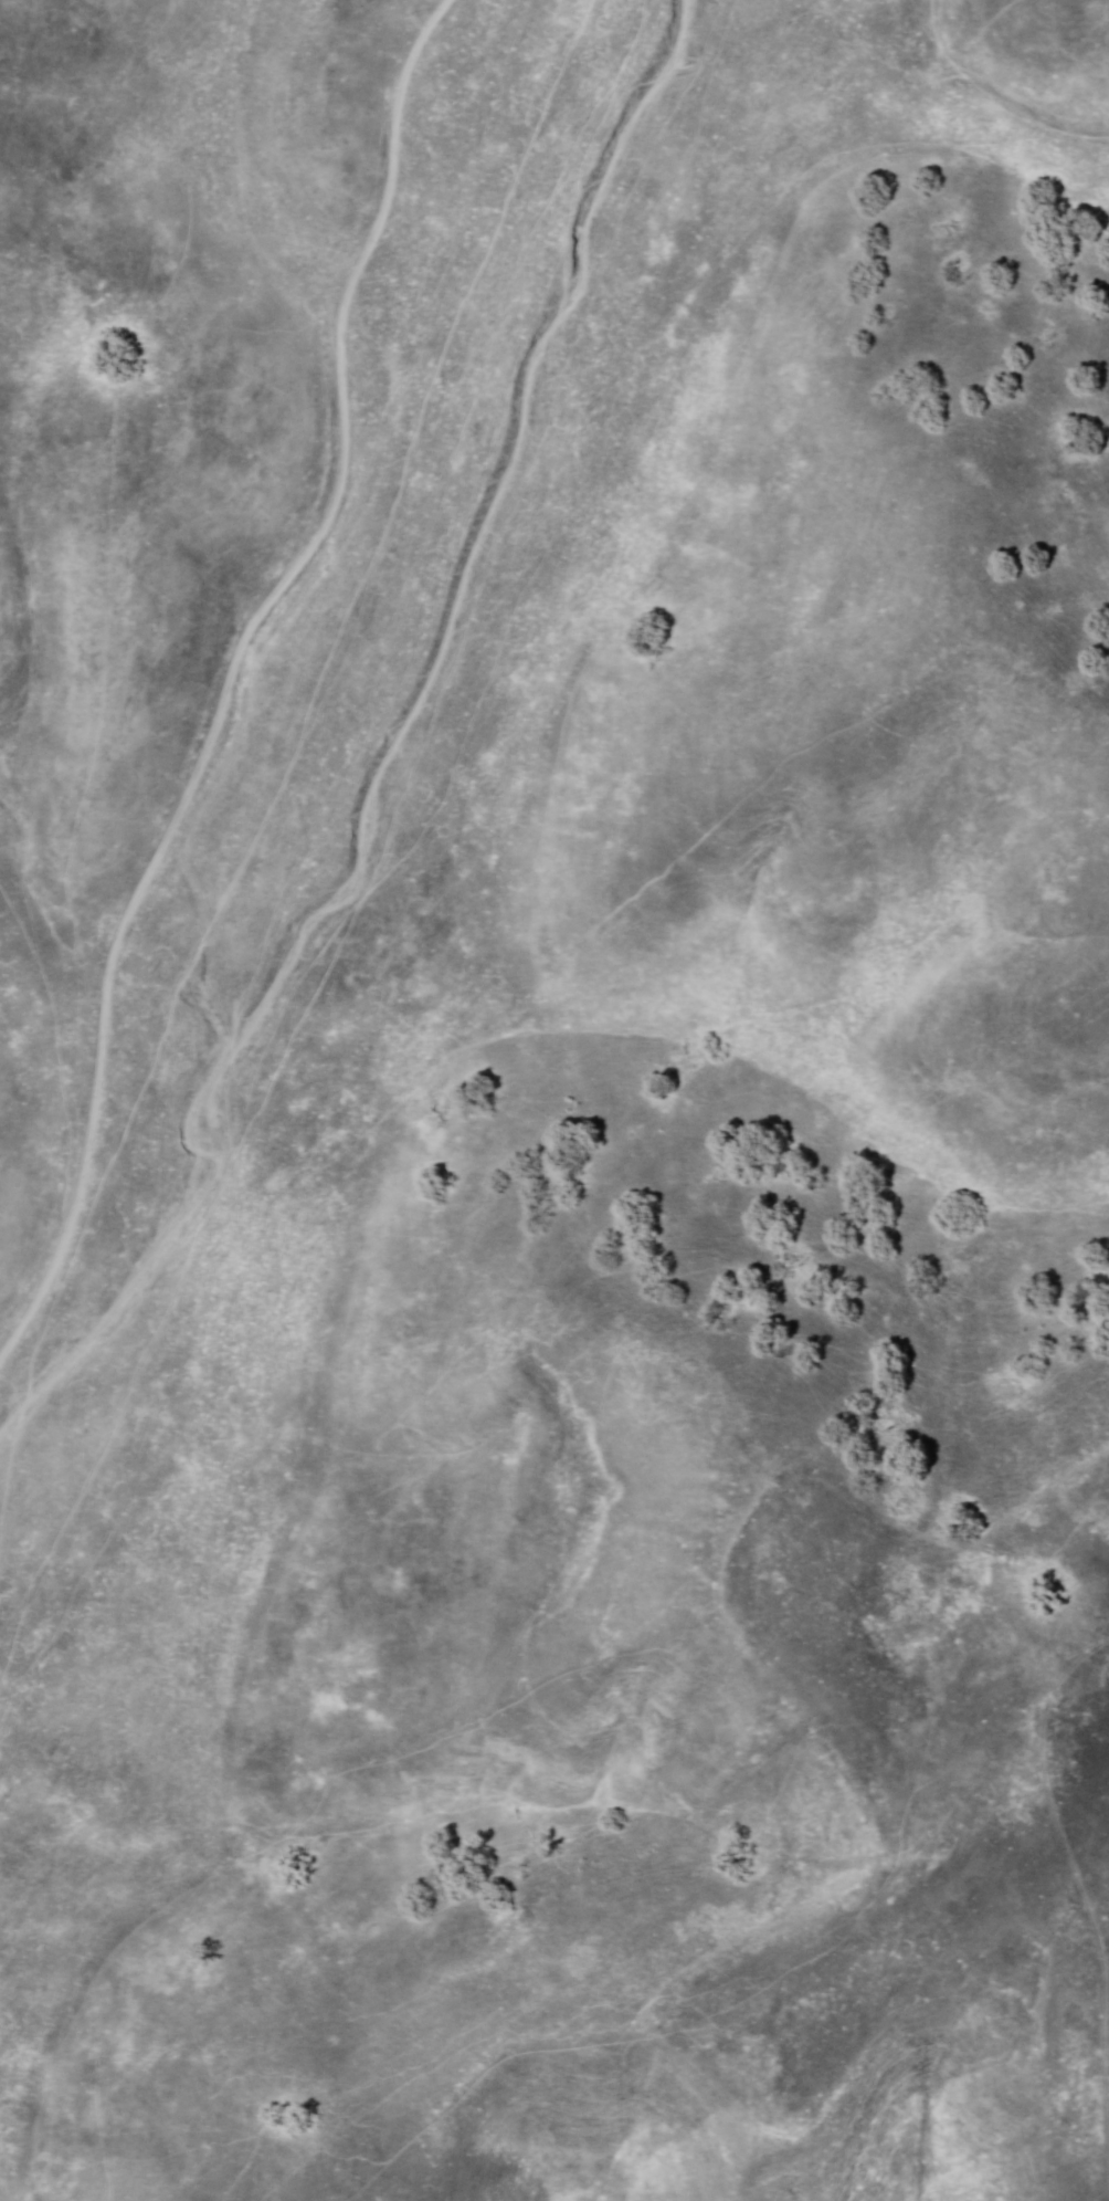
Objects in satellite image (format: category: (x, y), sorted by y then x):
road: (225, 669)

